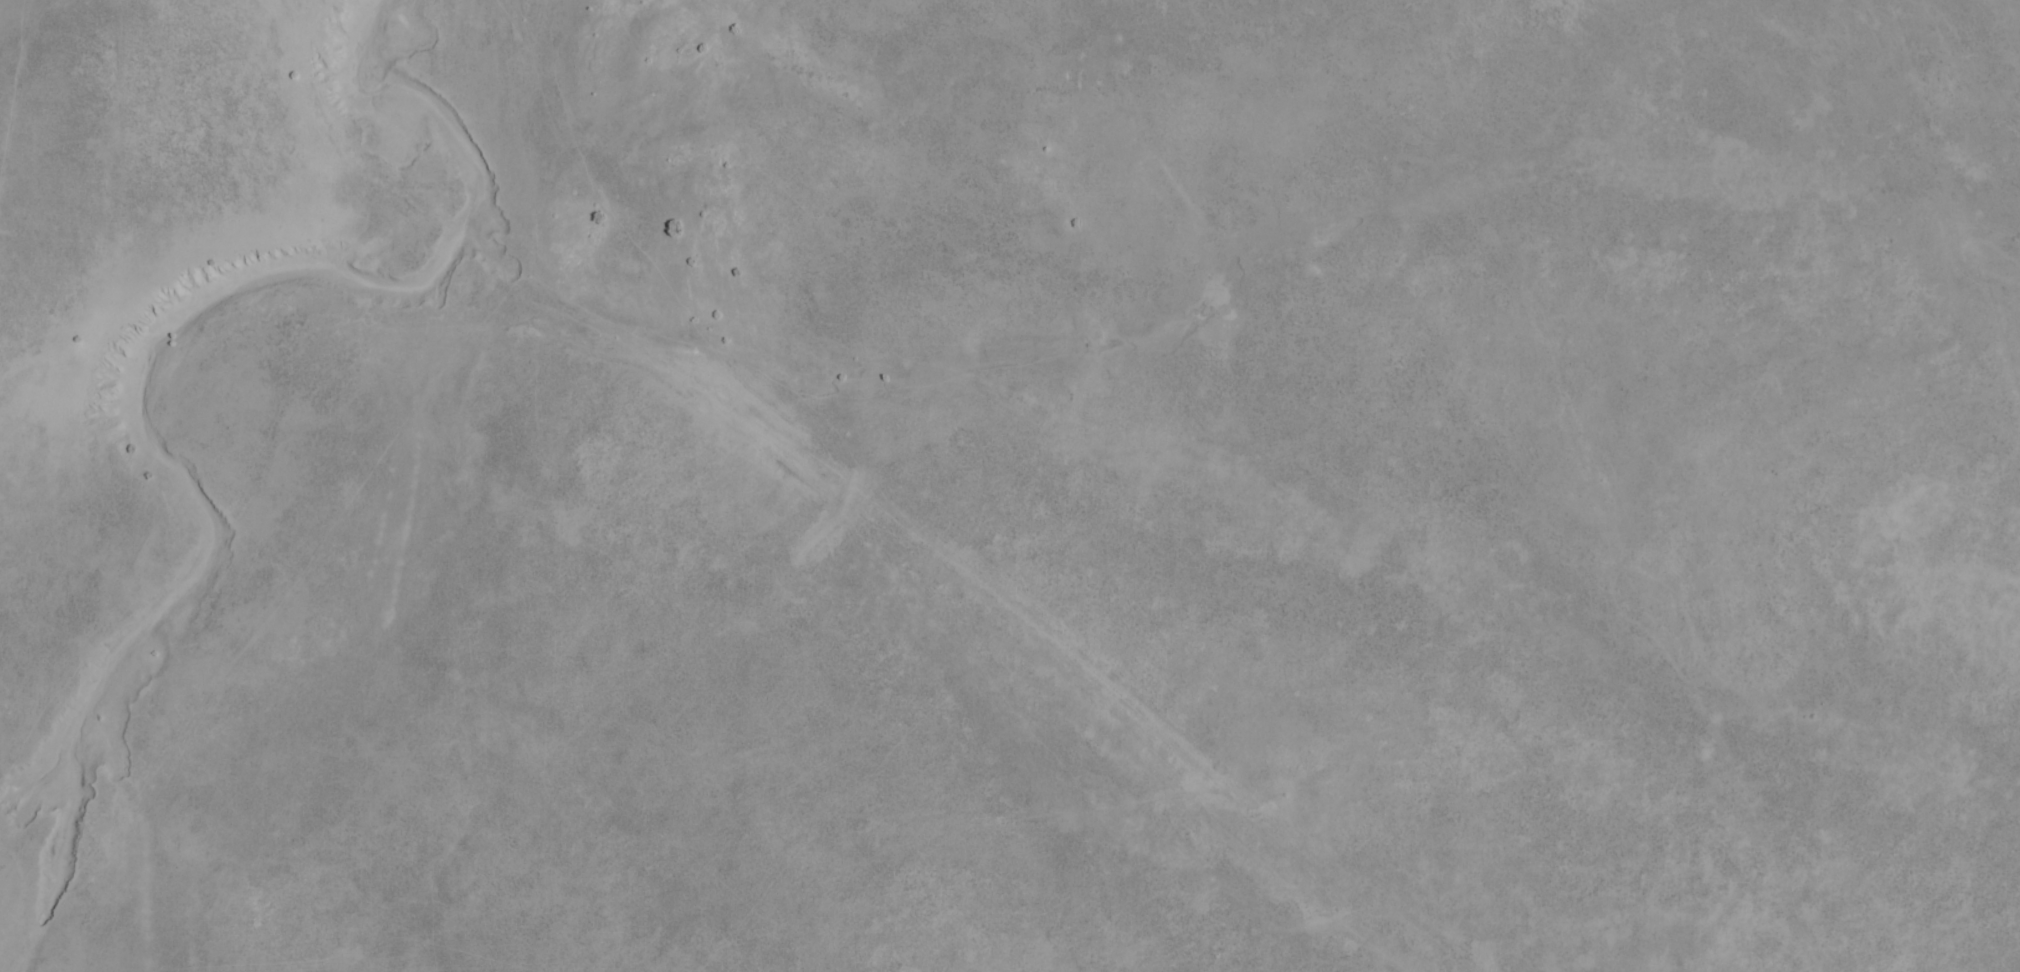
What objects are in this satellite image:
road: (193, 847)

